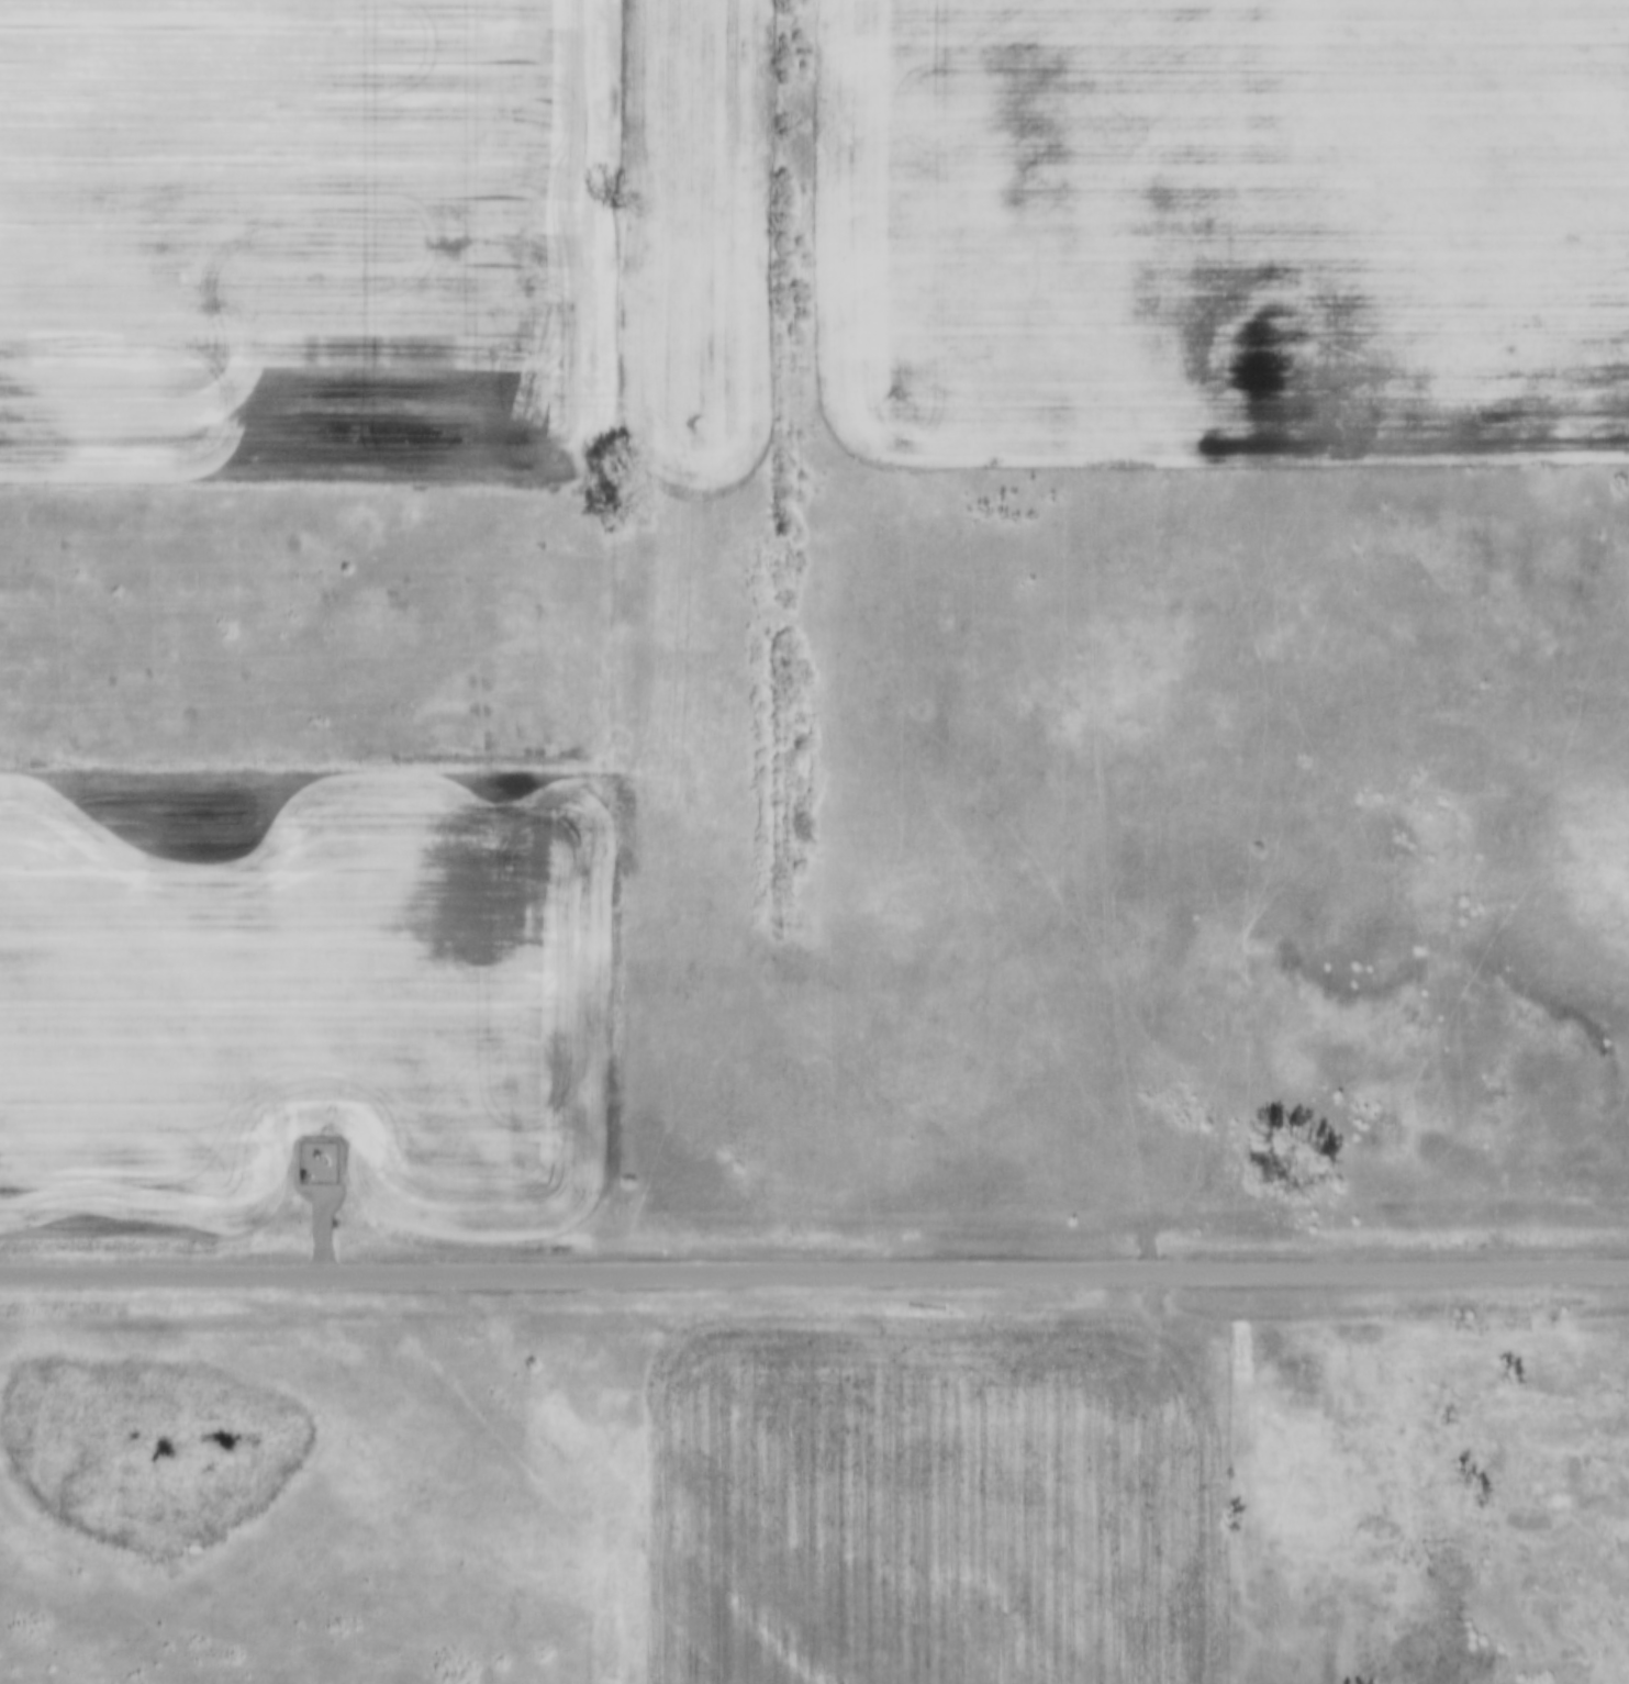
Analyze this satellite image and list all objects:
road: (814, 1265)

